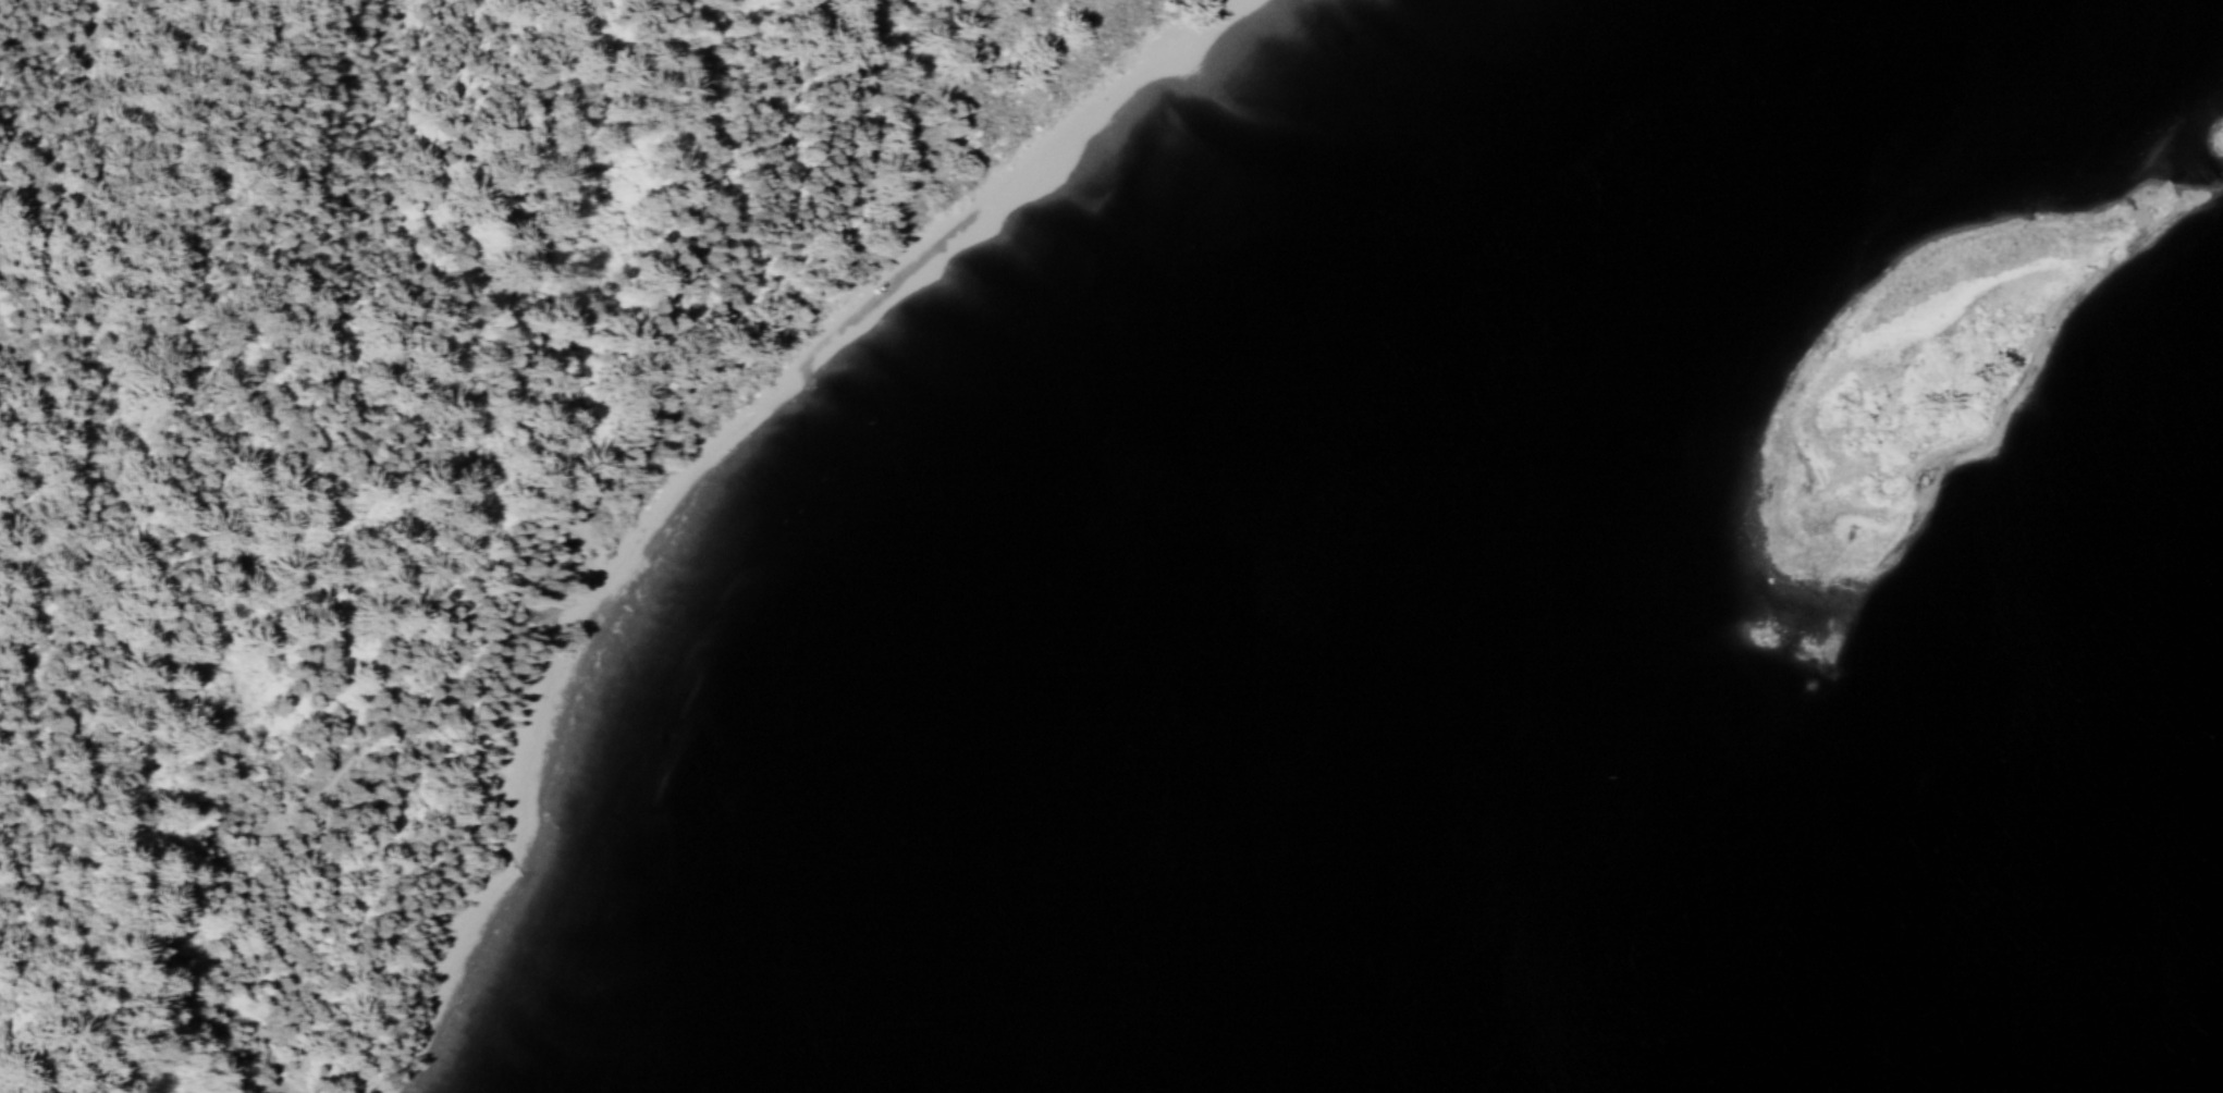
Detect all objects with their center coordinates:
road: (549, 575)

